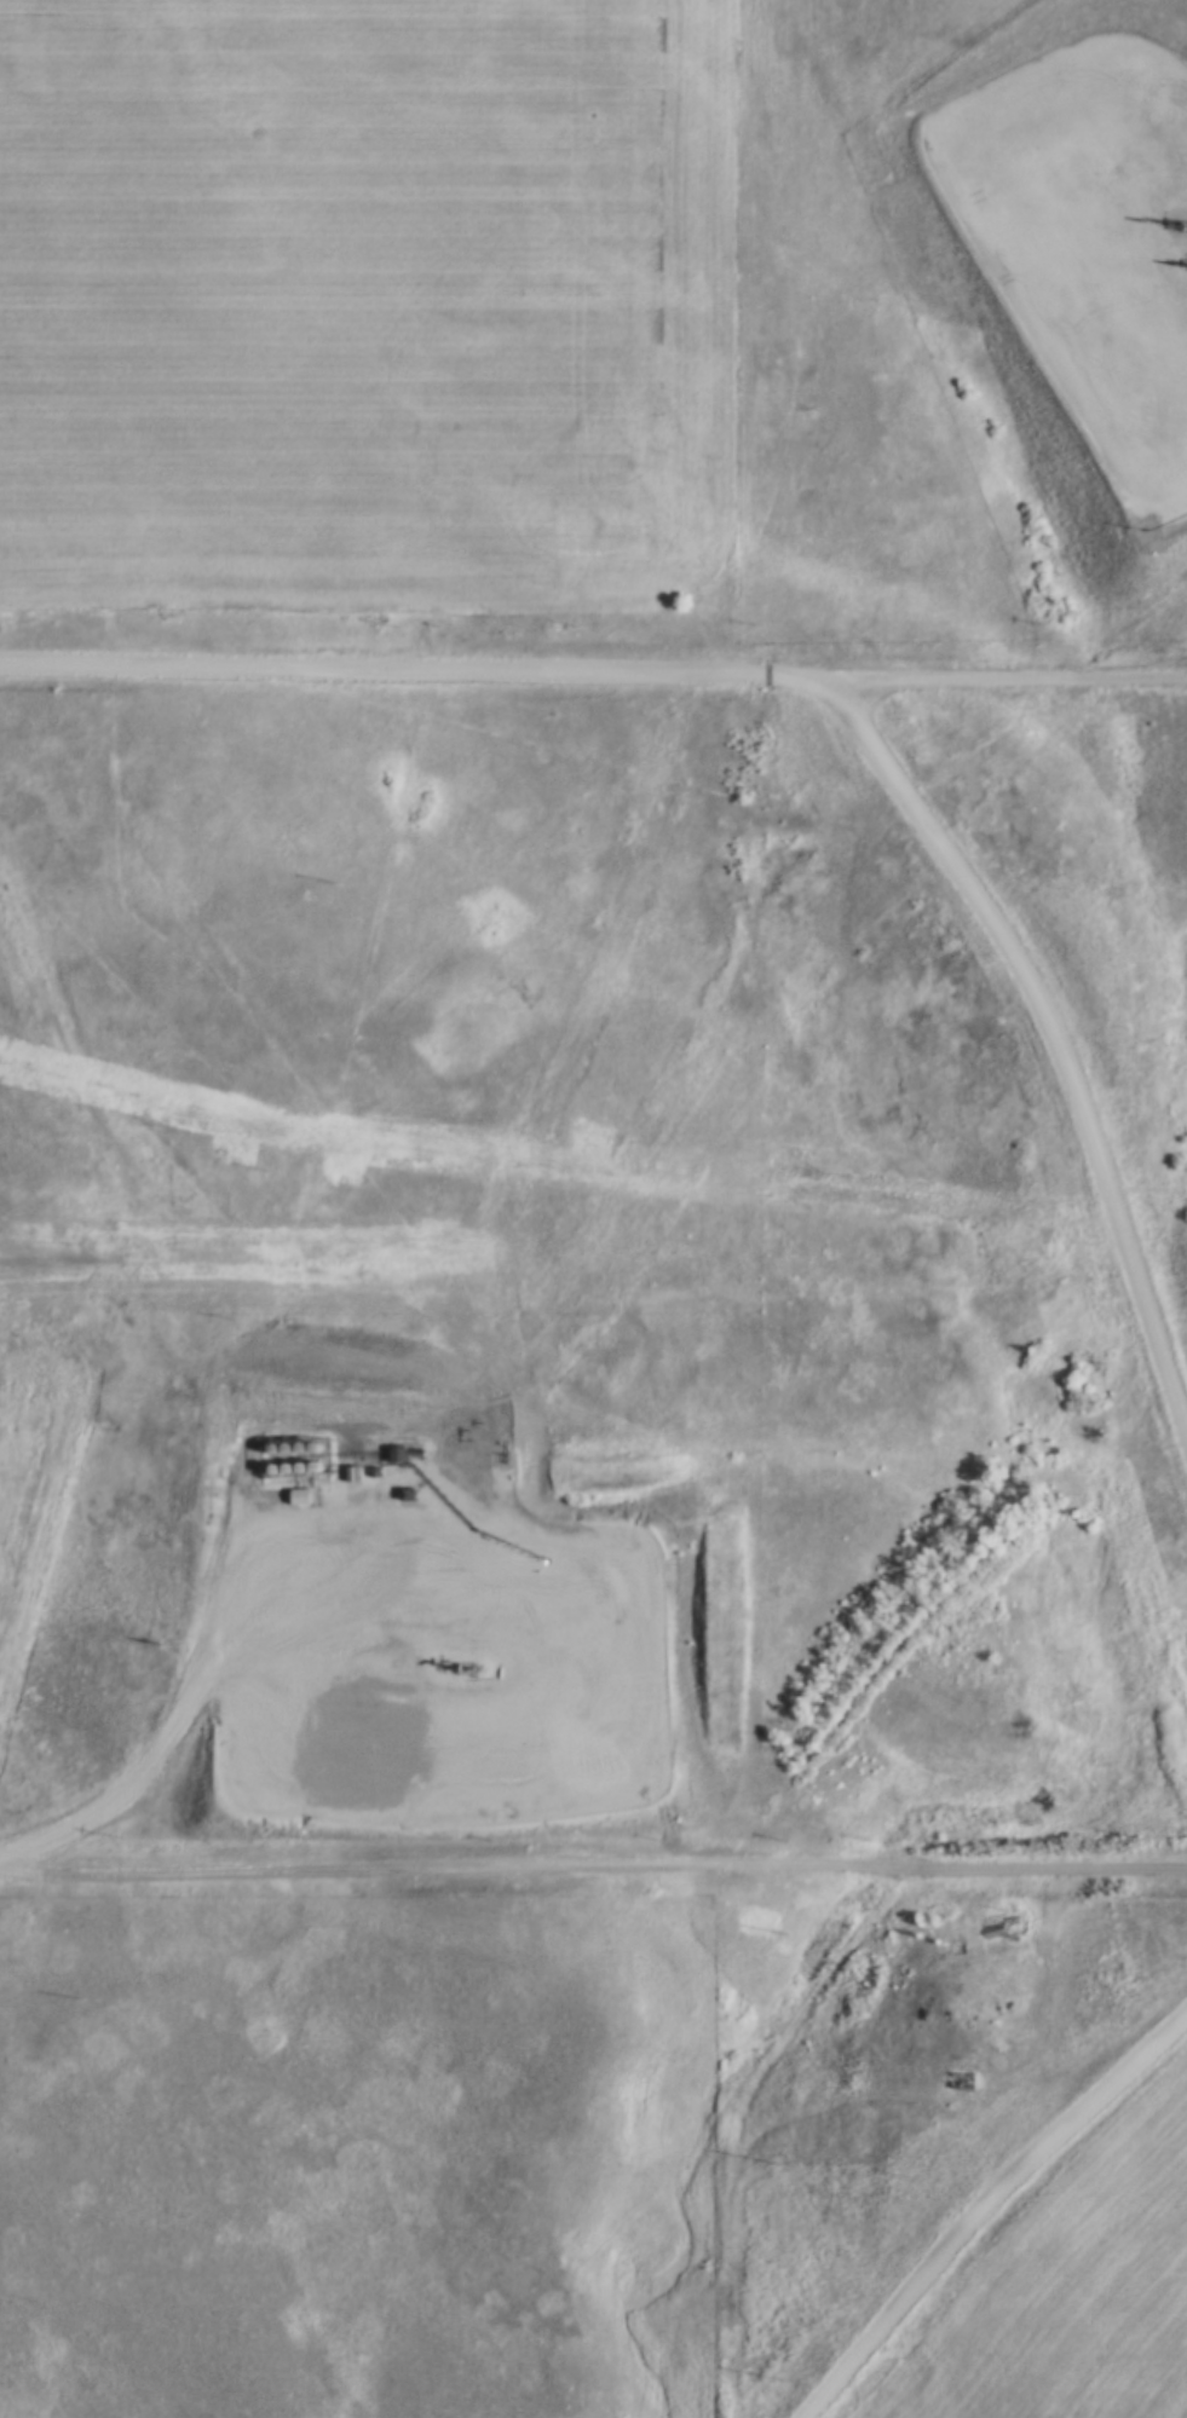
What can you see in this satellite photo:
road: (593, 676)
road: (1033, 1055)
building: (396, 1455)
road: (238, 1647)
road: (593, 1868)
building: (998, 1924)
building: (962, 2082)
road: (969, 2182)

